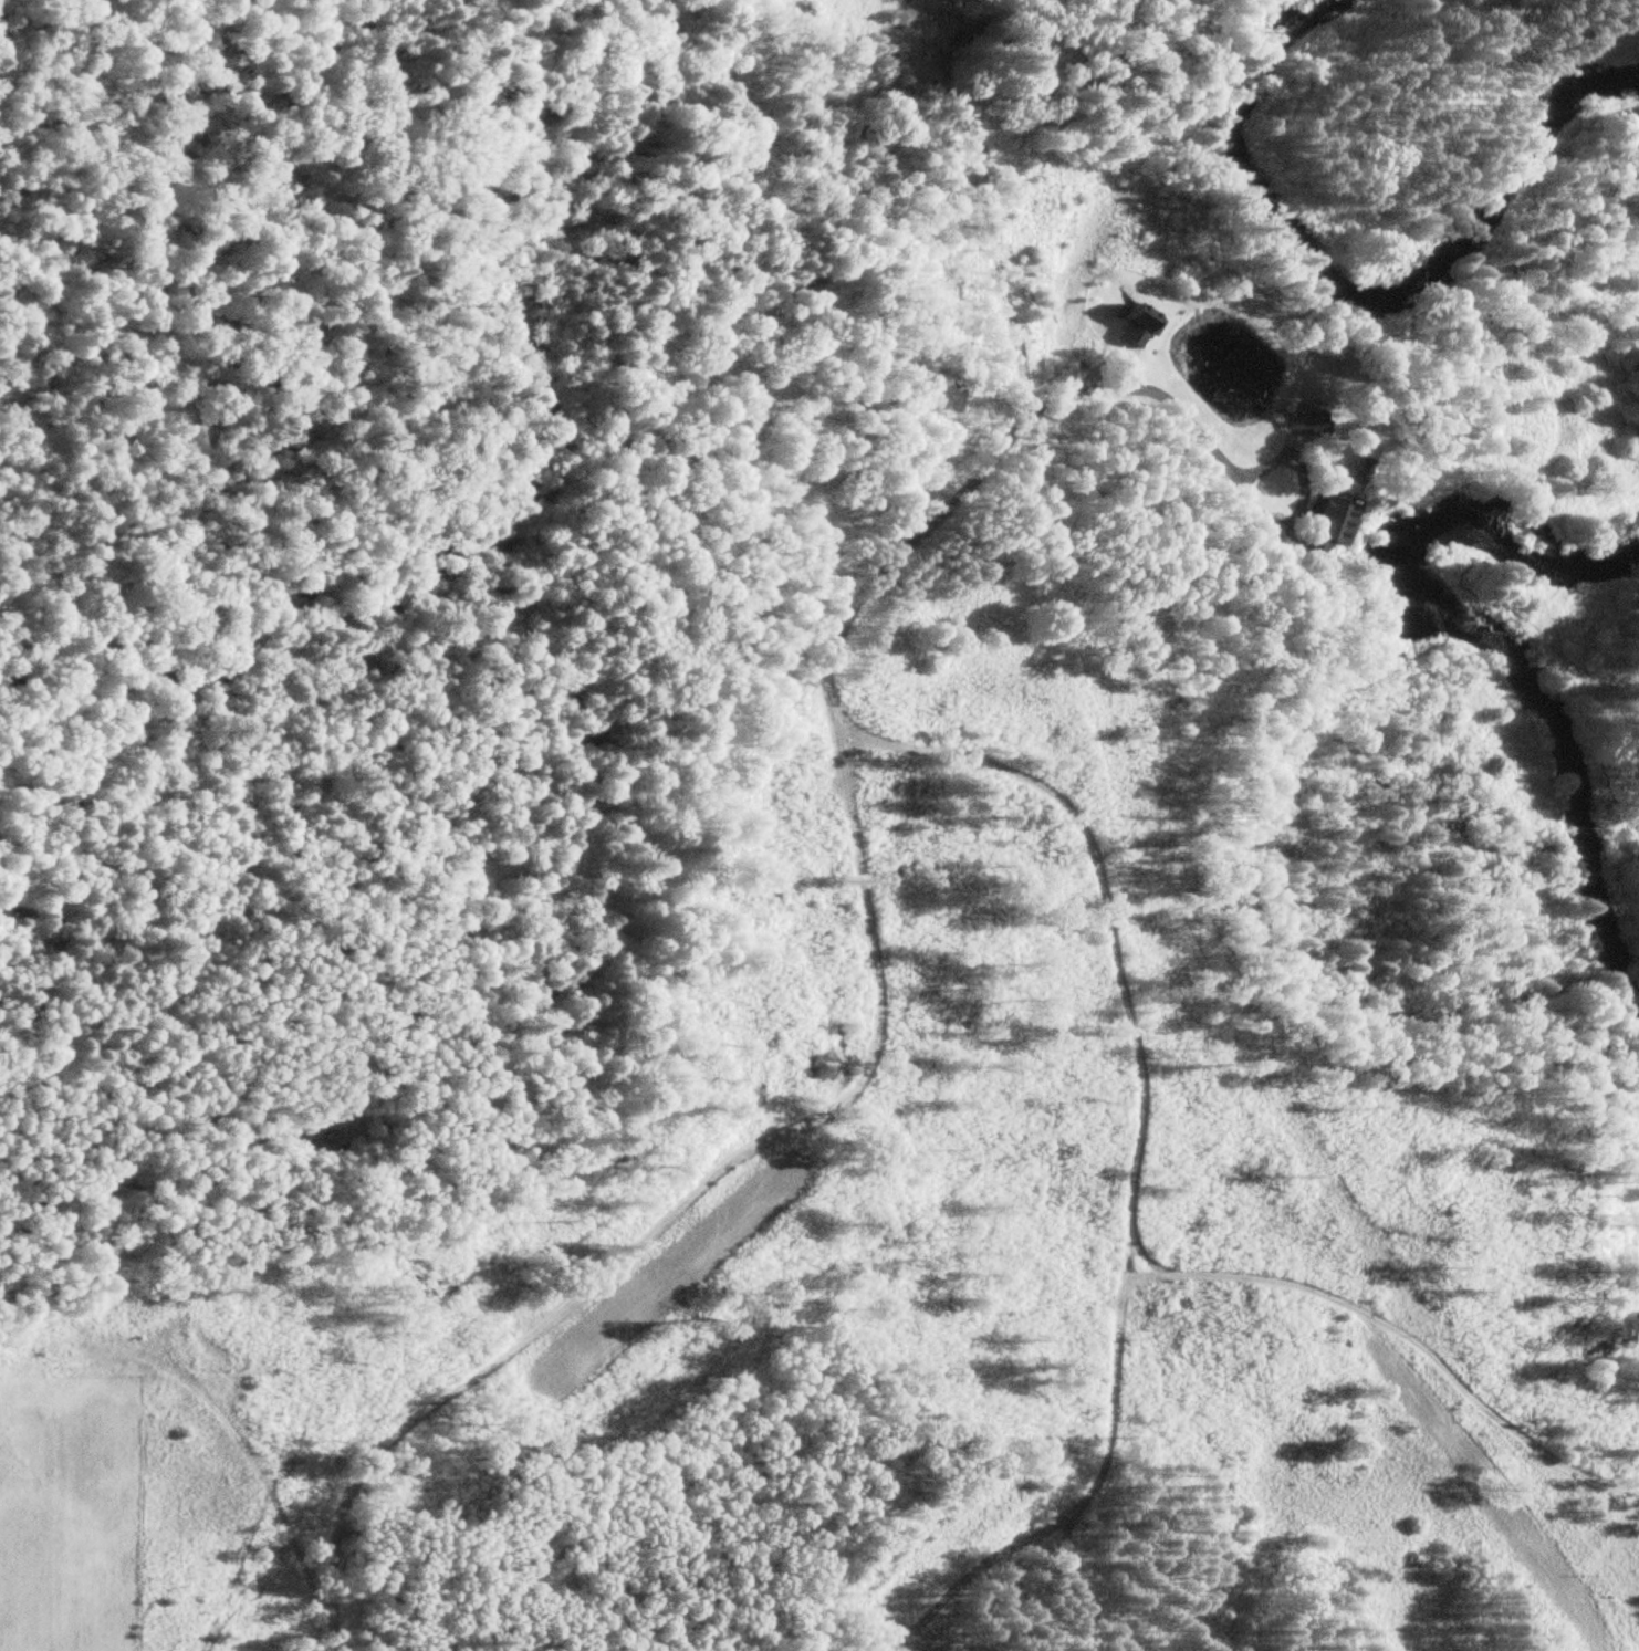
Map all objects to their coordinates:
river: (1354, 293)
building: (1304, 418)
road: (1223, 462)
building: (1325, 524)
river: (1506, 651)
road: (931, 750)
road: (678, 1204)
road: (1396, 1329)
road: (1097, 1601)

